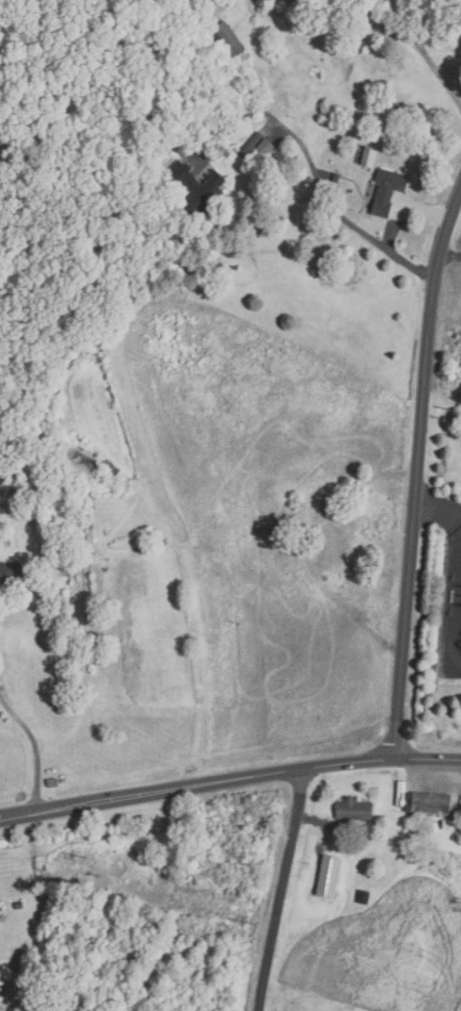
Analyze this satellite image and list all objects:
road: (410, 27)
road: (396, 32)
building: (229, 40)
building: (366, 163)
road: (313, 170)
building: (184, 179)
building: (388, 191)
building: (204, 199)
road: (426, 213)
road: (451, 256)
building: (11, 473)
road: (417, 473)
building: (3, 485)
building: (11, 574)
power substation: (454, 611)
road: (33, 750)
road: (229, 777)
building: (428, 805)
building: (355, 811)
power tower: (95, 855)
road: (279, 888)
building: (365, 896)
power tower: (264, 922)

